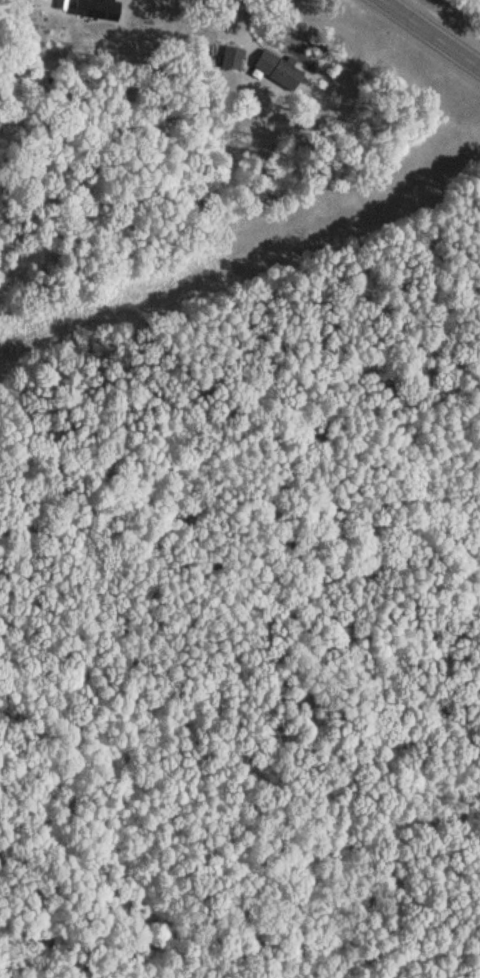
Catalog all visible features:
road: (430, 33)

